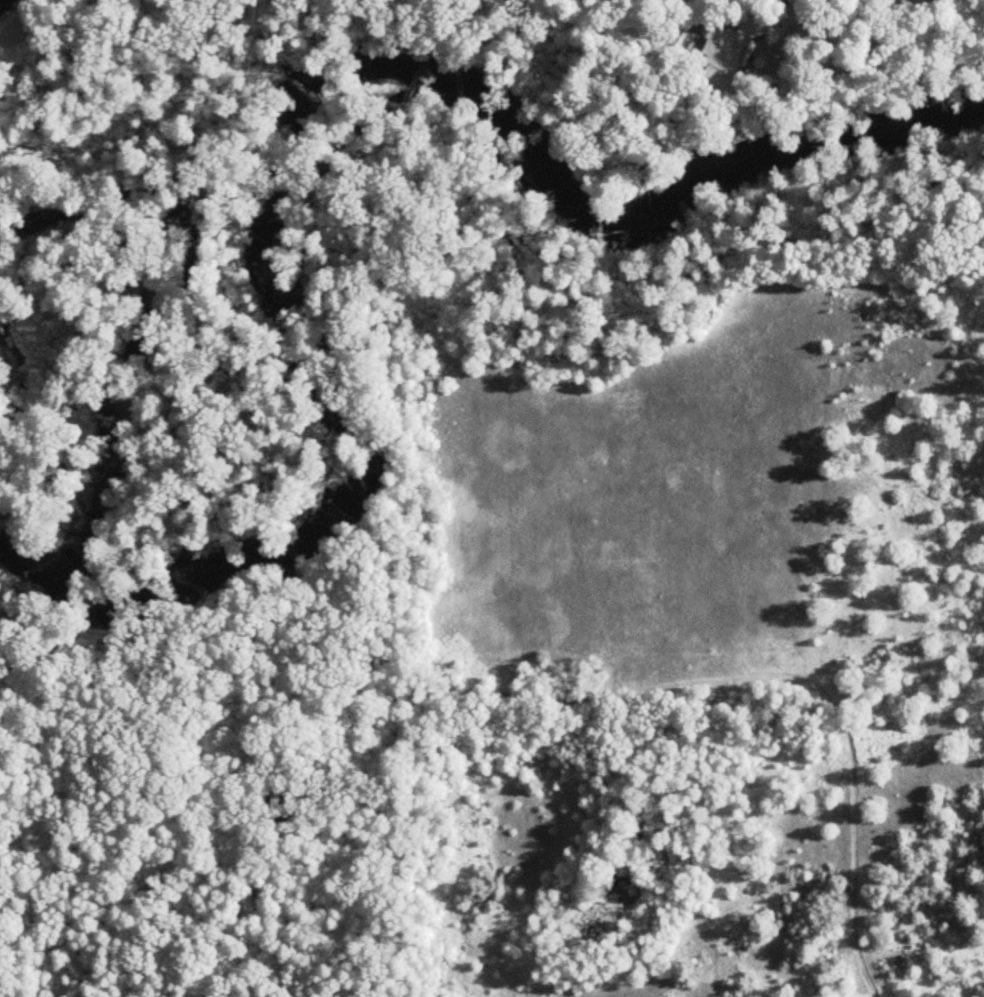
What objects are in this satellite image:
road: (786, 27)
building: (725, 52)
river: (297, 116)

